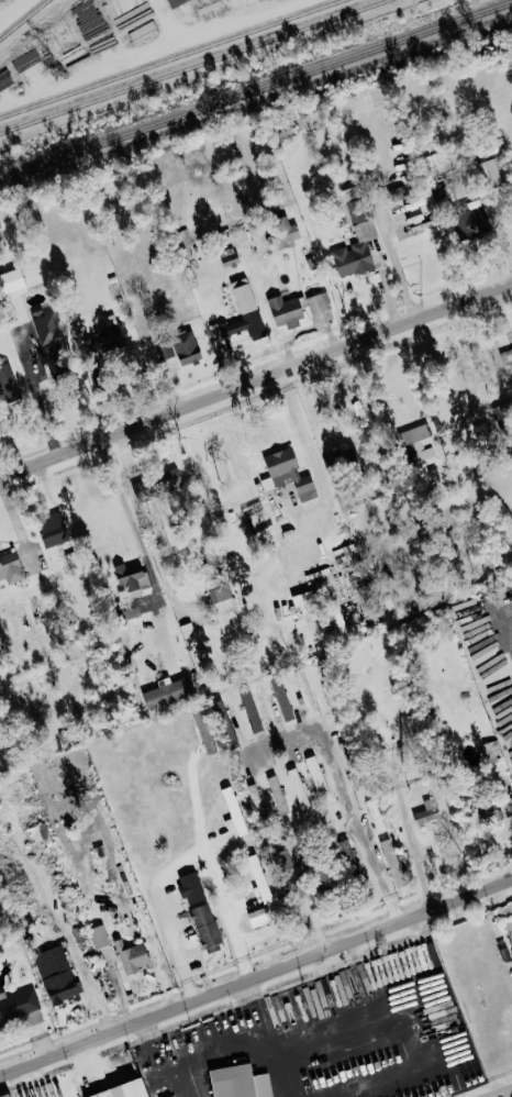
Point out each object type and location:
building: (129, 12)
railway: (23, 19)
railway: (170, 58)
railway: (190, 65)
railway: (256, 89)
building: (490, 174)
building: (353, 199)
building: (472, 228)
building: (286, 231)
building: (353, 258)
road: (396, 267)
building: (12, 280)
building: (318, 302)
building: (286, 310)
building: (243, 313)
building: (46, 325)
building: (109, 337)
building: (180, 348)
building: (507, 359)
road: (467, 361)
building: (8, 385)
road: (256, 385)
building: (424, 441)
building: (345, 456)
building: (290, 473)
building: (172, 478)
building: (142, 488)
road: (126, 507)
building: (53, 530)
building: (11, 567)
building: (131, 578)
building: (131, 608)
building: (226, 609)
building: (304, 690)
building: (168, 692)
building: (281, 698)
building: (408, 736)
building: (346, 747)
building: (492, 749)
building: (316, 775)
building: (357, 778)
building: (298, 789)
building: (278, 795)
road: (345, 798)
building: (235, 810)
building: (427, 811)
building: (491, 812)
building: (376, 816)
road: (410, 834)
building: (286, 863)
building: (393, 863)
building: (260, 878)
building: (191, 888)
building: (259, 917)
building: (504, 927)
building: (207, 928)
building: (99, 937)
building: (132, 957)
building: (56, 974)
road: (255, 976)
building: (20, 1008)
road: (232, 1039)
building: (241, 1082)
building: (113, 1092)
building: (7, 1095)
road: (508, 1095)

